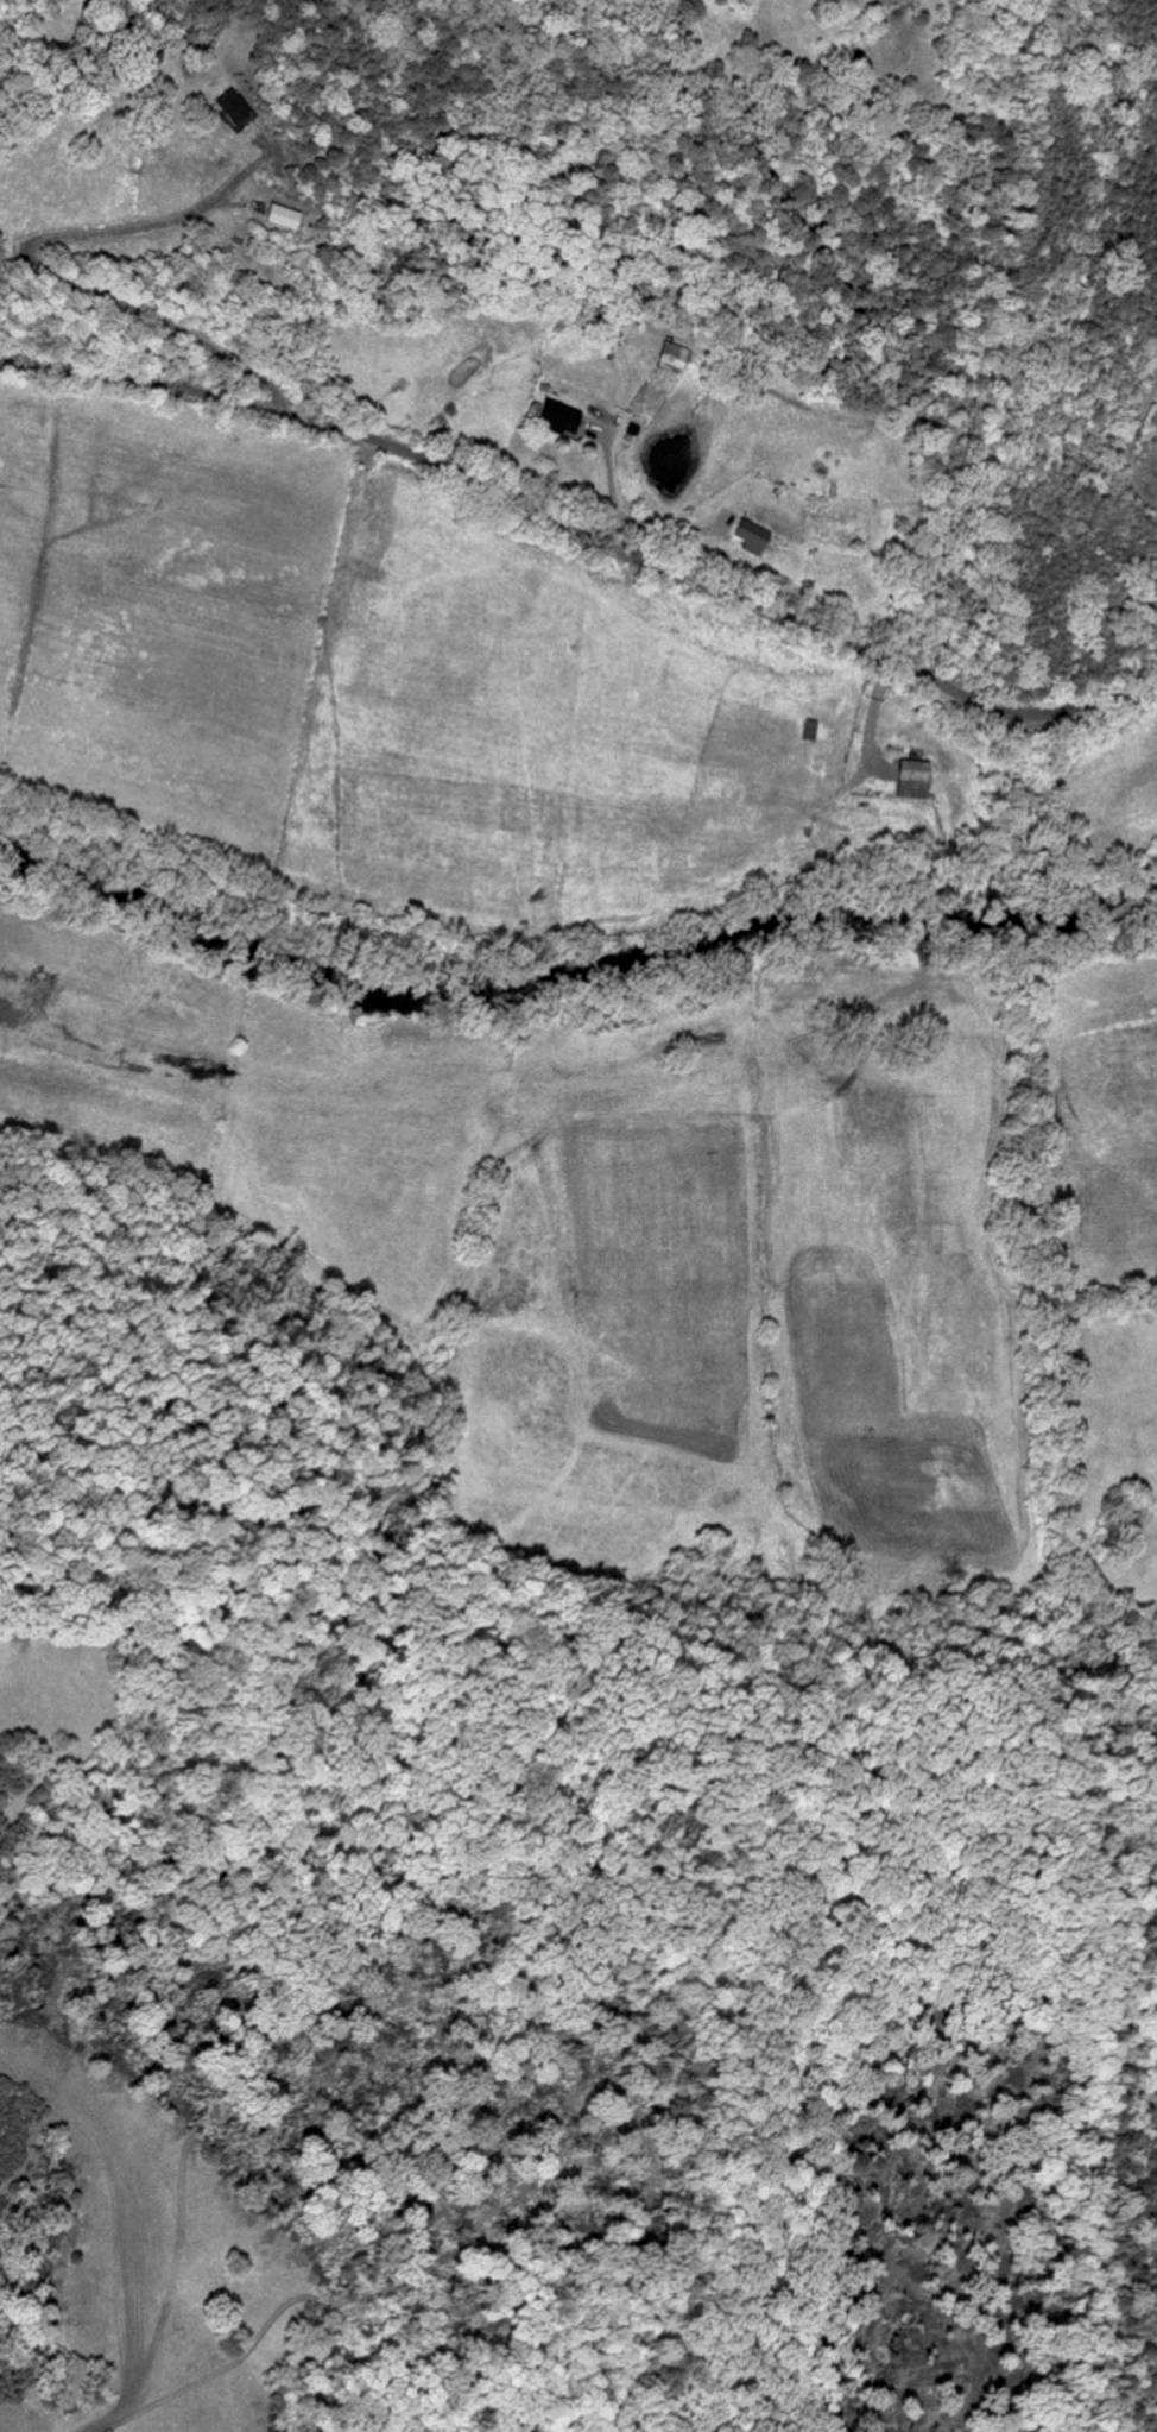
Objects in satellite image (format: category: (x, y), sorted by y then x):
building: (235, 107)
building: (282, 218)
road: (37, 270)
building: (672, 357)
building: (555, 416)
road: (1130, 446)
road: (586, 534)
building: (750, 536)
building: (910, 779)

